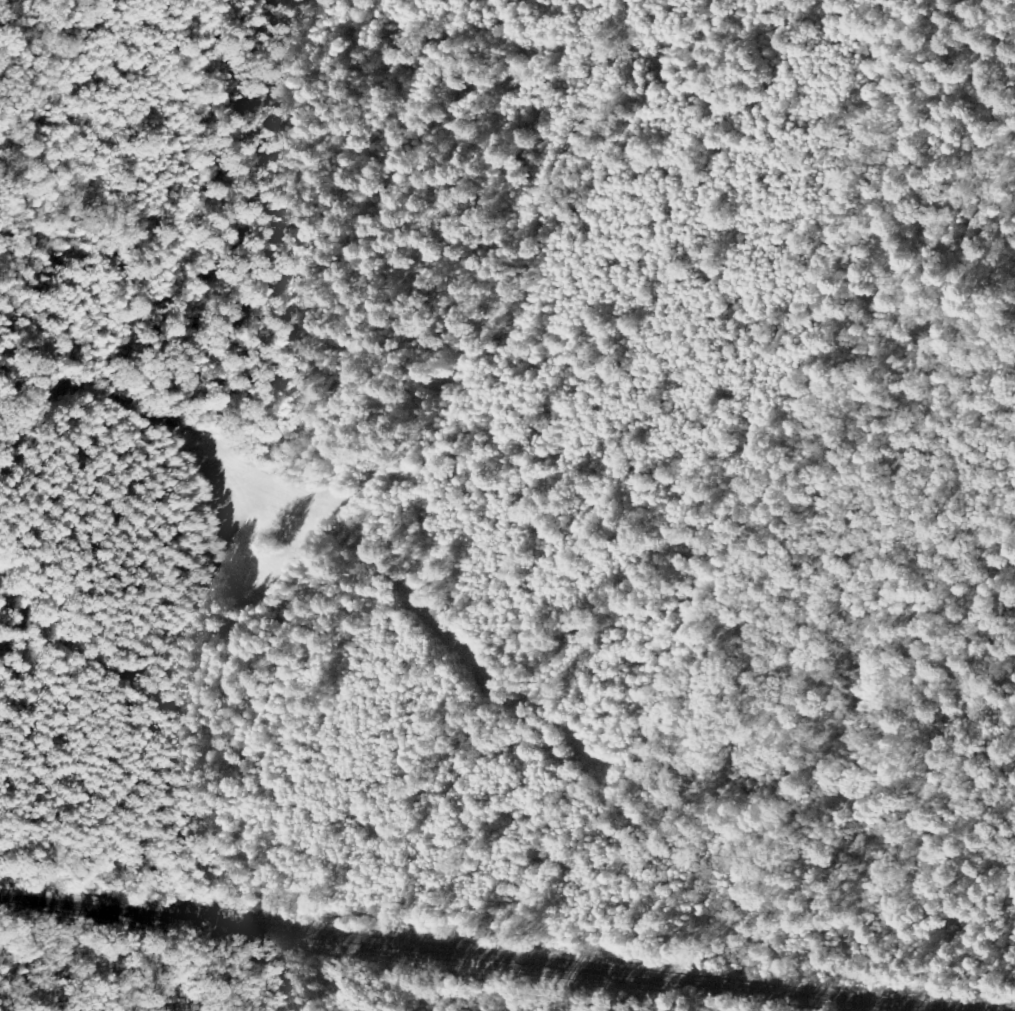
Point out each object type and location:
railway: (463, 956)

